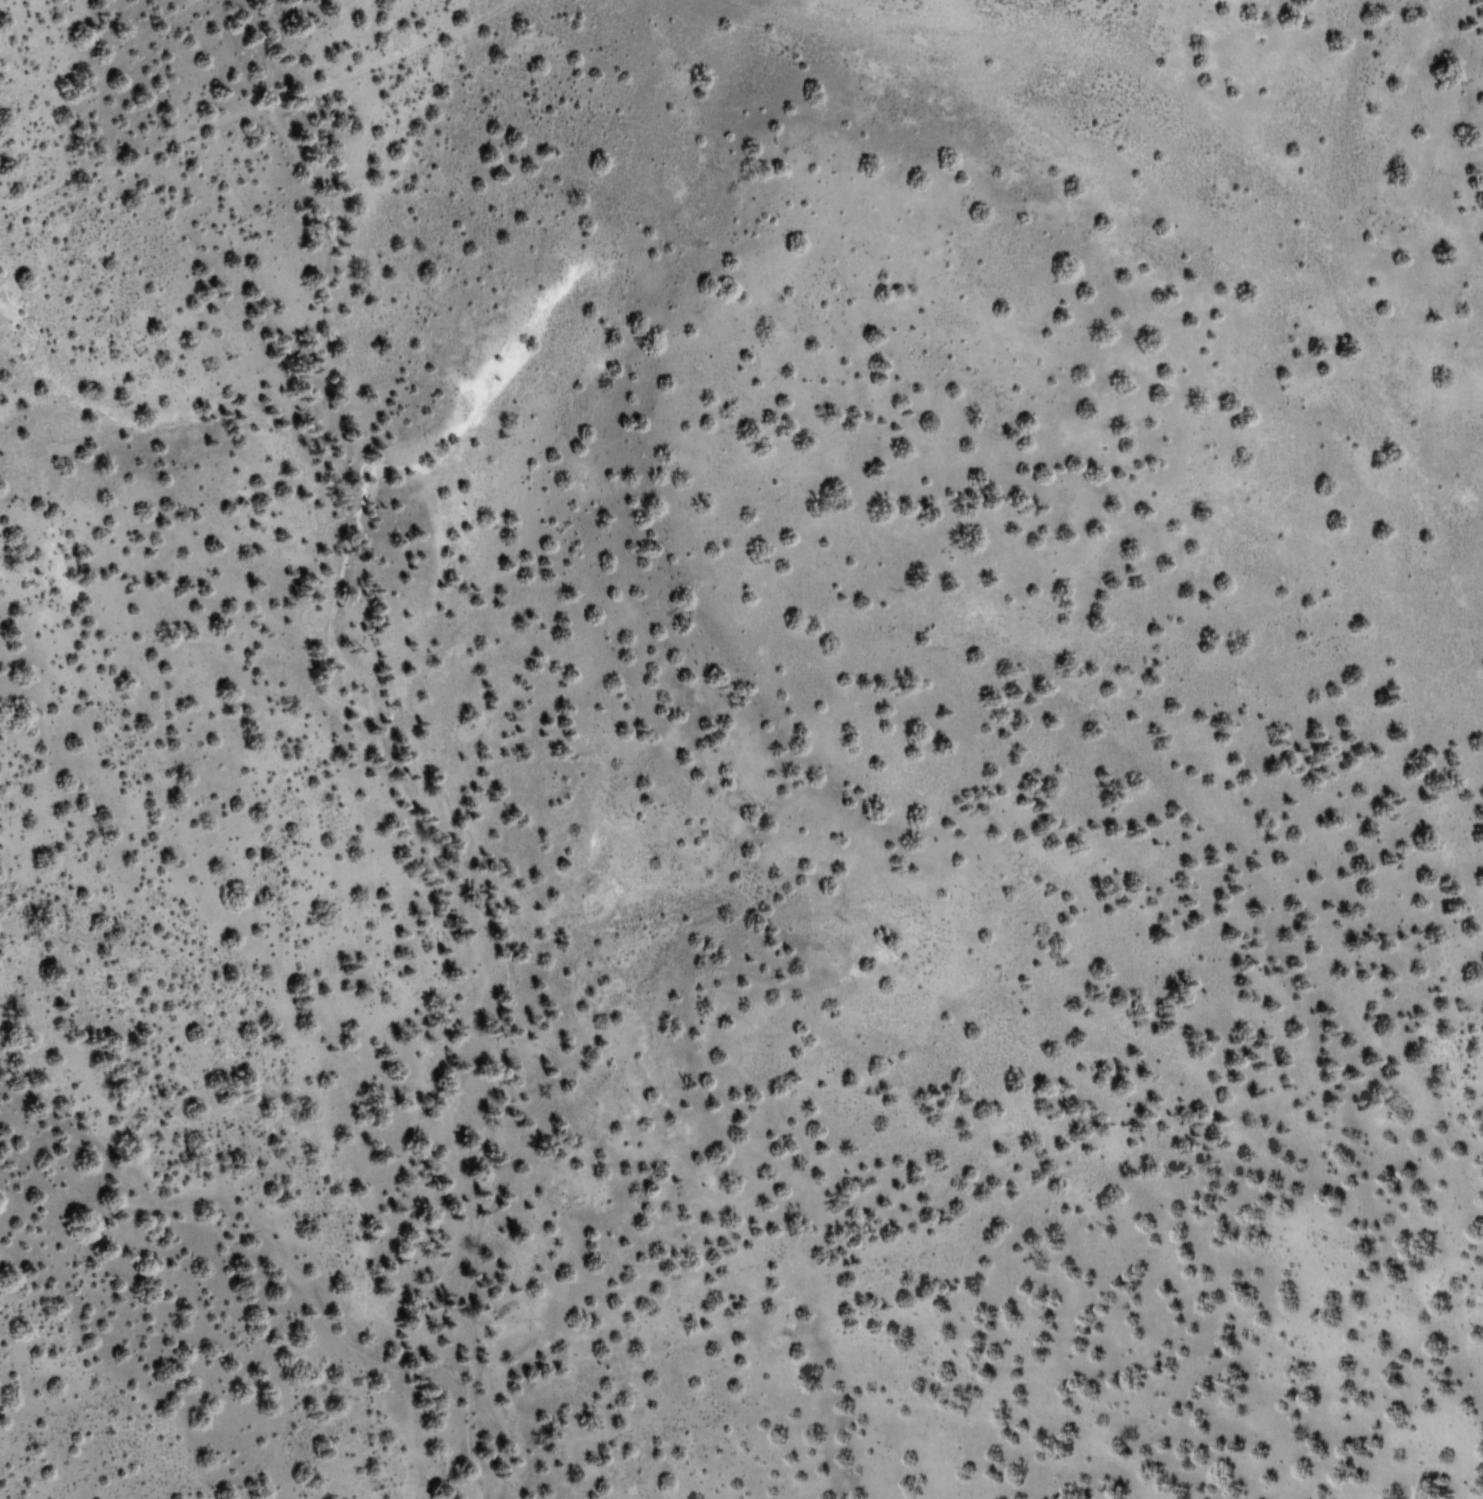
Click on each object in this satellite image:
road: (274, 135)

